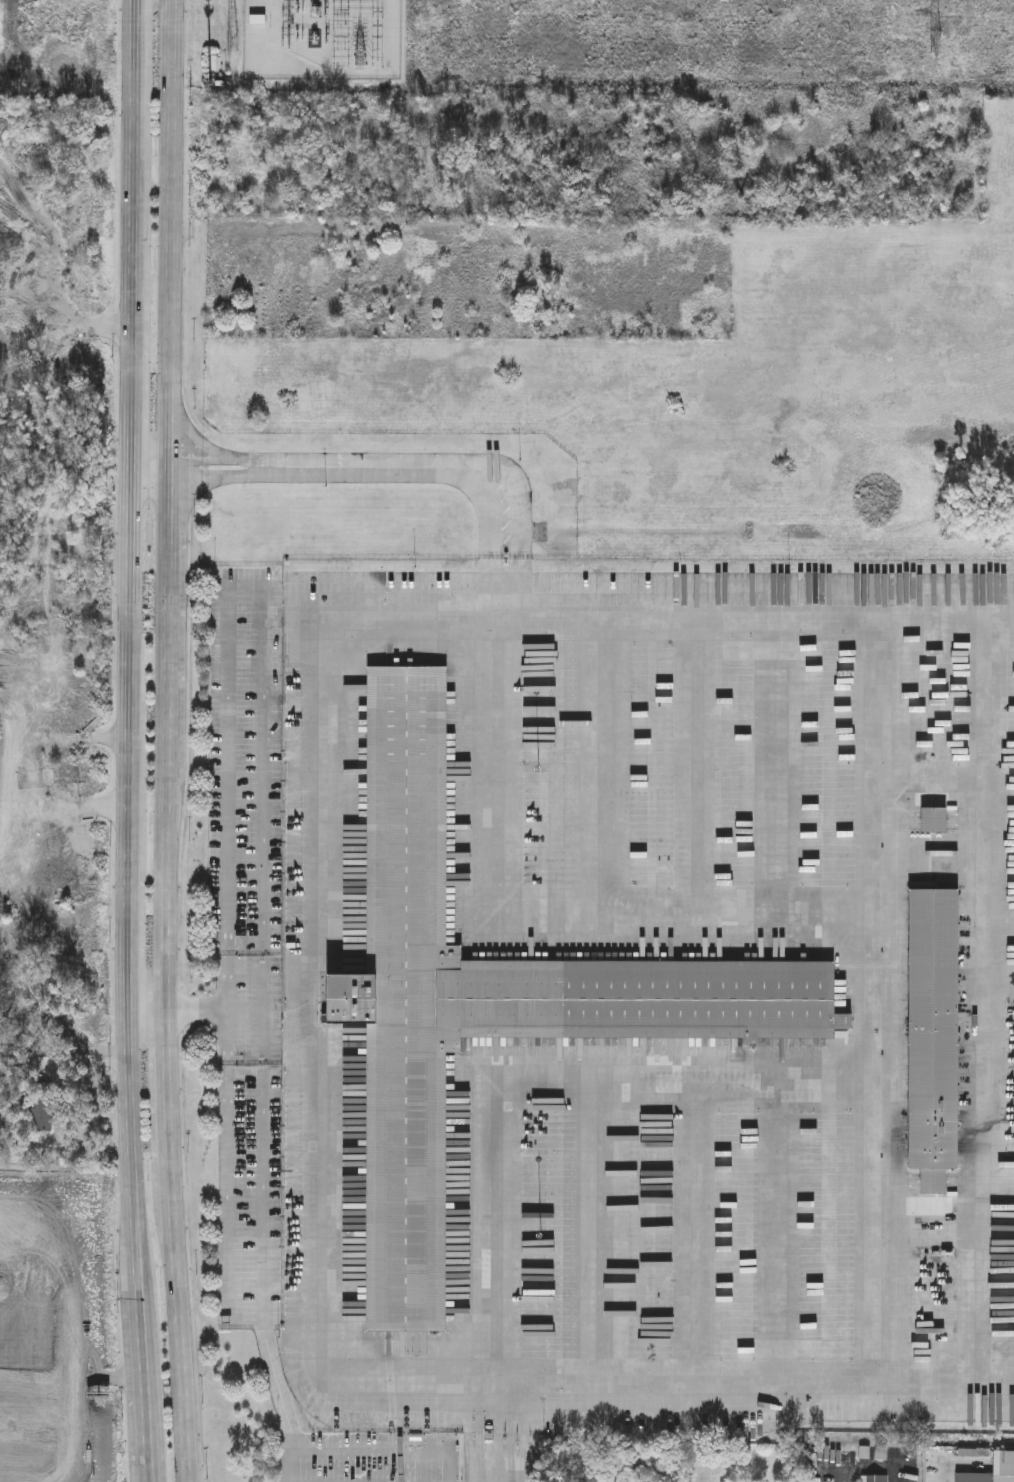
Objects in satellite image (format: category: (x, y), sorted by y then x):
building: (258, 21)
power substation: (321, 39)
power tower: (943, 41)
power tower: (232, 42)
road: (168, 233)
road: (207, 445)
road: (202, 459)
road: (151, 463)
road: (454, 469)
road: (202, 477)
road: (169, 597)
road: (666, 615)
road: (129, 693)
road: (875, 761)
road: (777, 762)
road: (698, 763)
road: (608, 765)
road: (488, 766)
road: (944, 770)
road: (228, 780)
road: (266, 787)
building: (932, 821)
road: (682, 912)
road: (265, 967)
road: (321, 996)
building: (487, 997)
road: (220, 1011)
building: (930, 1034)
road: (985, 1076)
road: (684, 1083)
road: (167, 1105)
building: (43, 1109)
road: (877, 1146)
road: (781, 1233)
road: (689, 1235)
road: (590, 1238)
road: (490, 1241)
road: (228, 1308)
road: (667, 1388)
road: (146, 1434)
road: (505, 1436)
road: (321, 1452)
road: (294, 1467)
building: (992, 1469)
road: (188, 1478)
building: (873, 1478)

